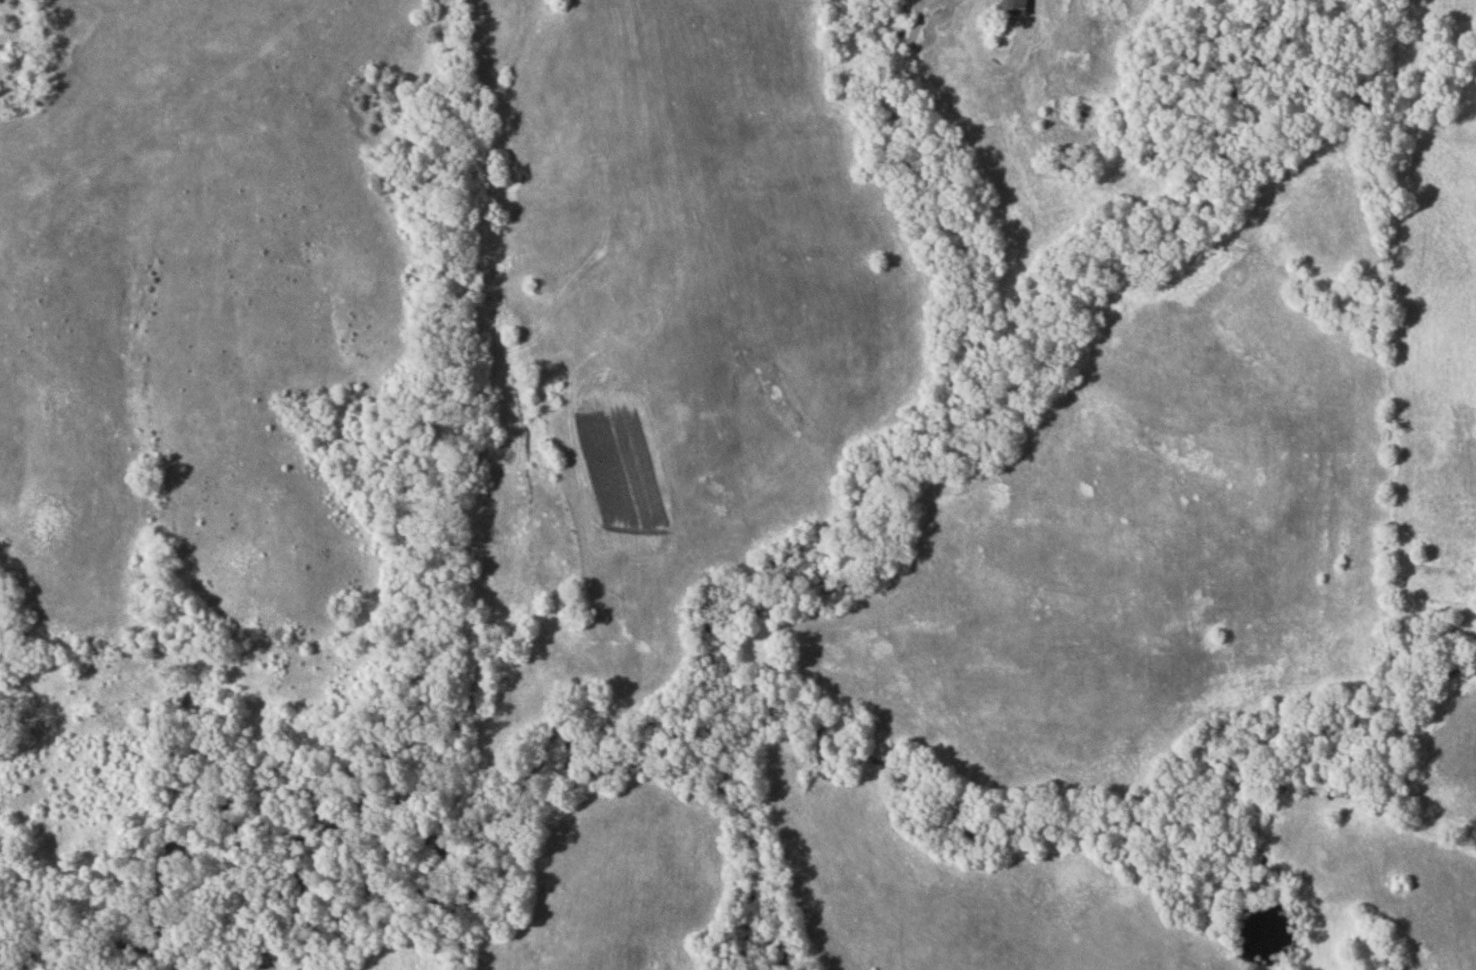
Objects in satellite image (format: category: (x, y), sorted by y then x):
building: (1016, 8)

